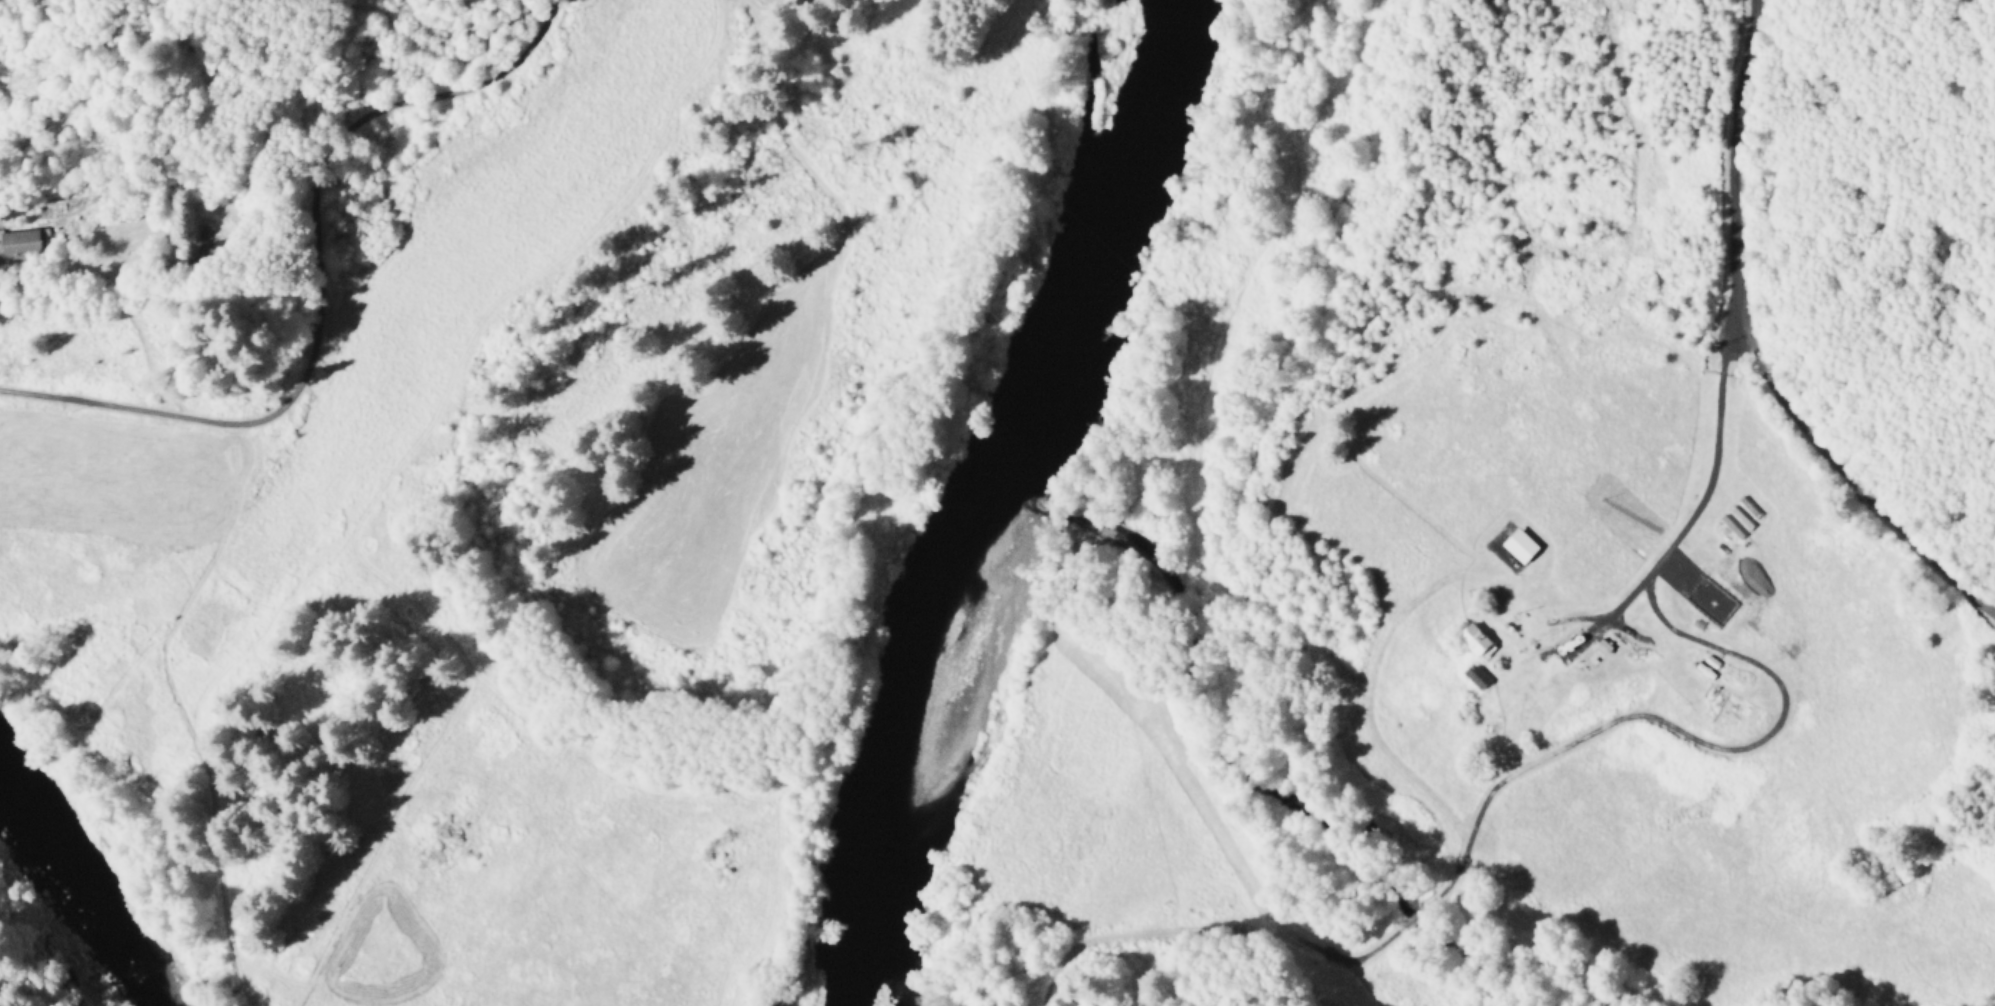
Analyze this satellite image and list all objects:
road: (794, 139)
building: (25, 240)
road: (314, 282)
road: (1758, 350)
river: (988, 492)
road: (1705, 506)
building: (1519, 543)
building: (1476, 639)
building: (1476, 673)
road: (1750, 743)
river: (91, 874)

